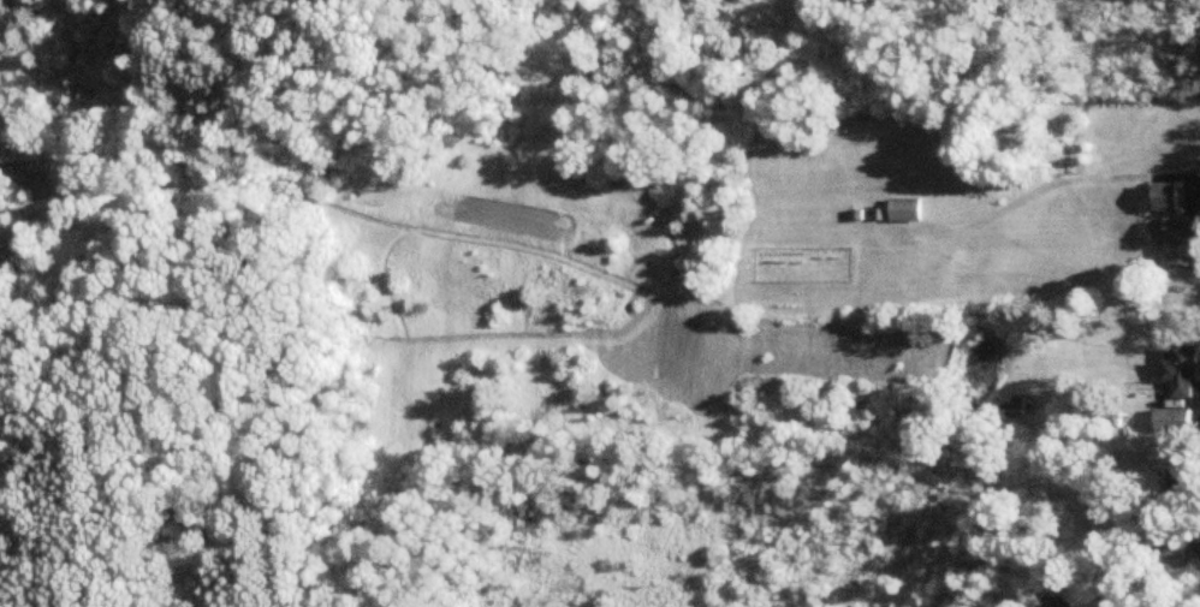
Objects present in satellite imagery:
building: (1166, 197)
building: (907, 210)
building: (1183, 243)
building: (1181, 373)
building: (1011, 409)
building: (1172, 422)
building: (1170, 558)
building: (1053, 602)

